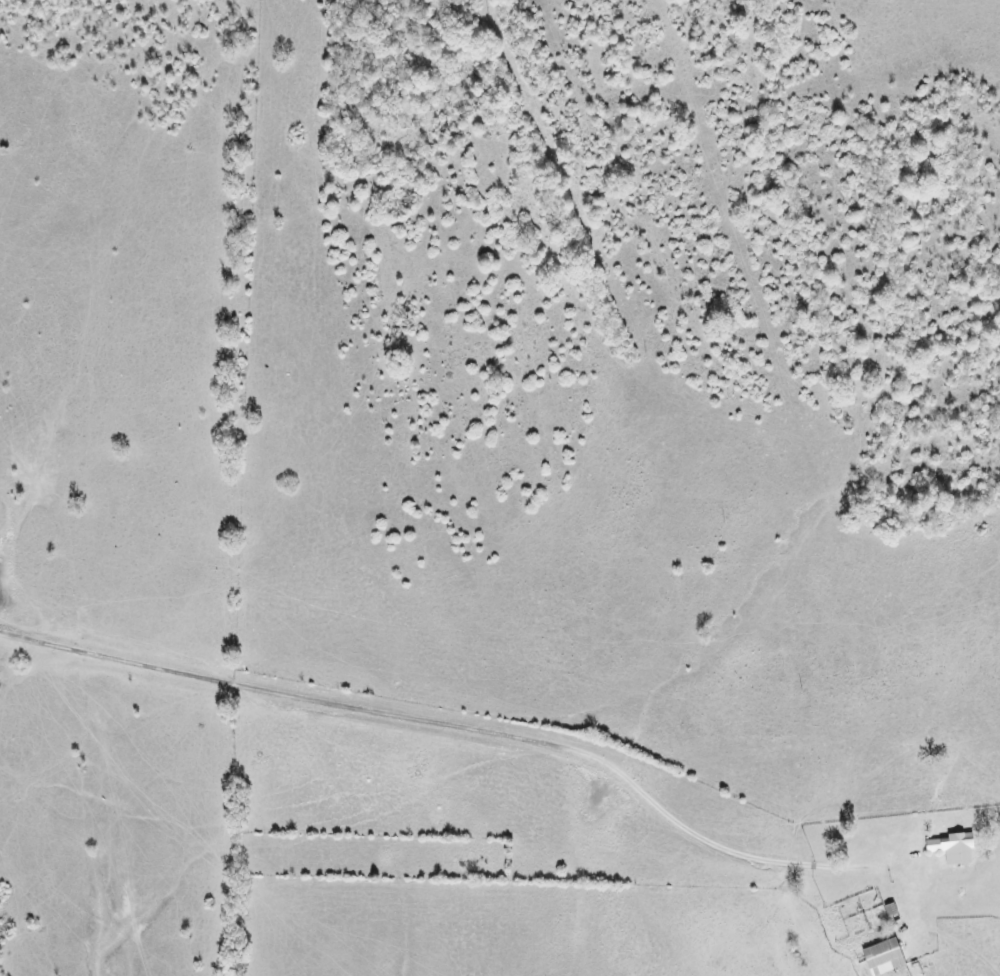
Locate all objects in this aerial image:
building: (888, 957)

